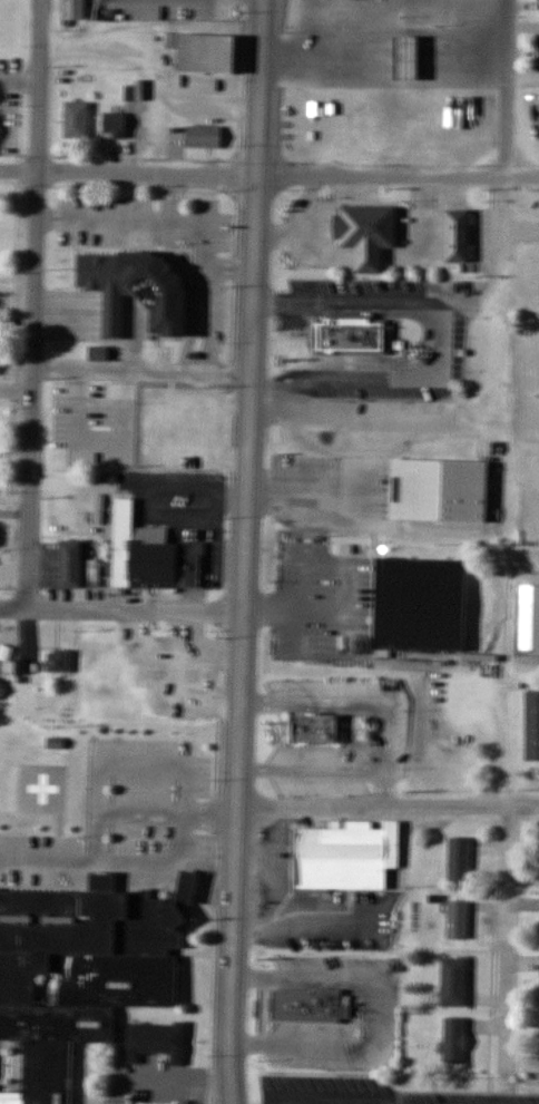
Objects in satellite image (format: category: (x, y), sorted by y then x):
building: (72, 10)
building: (206, 53)
building: (537, 53)
building: (413, 61)
road: (504, 88)
building: (365, 117)
building: (76, 120)
building: (410, 124)
building: (314, 125)
building: (114, 126)
building: (204, 137)
road: (268, 176)
building: (366, 234)
building: (458, 235)
building: (136, 287)
road: (469, 302)
road: (346, 303)
road: (35, 305)
building: (354, 331)
road: (491, 373)
road: (17, 393)
building: (194, 417)
building: (444, 492)
building: (158, 551)
road: (244, 551)
building: (77, 567)
building: (423, 609)
road: (121, 613)
building: (529, 617)
building: (96, 657)
building: (57, 662)
building: (148, 677)
building: (192, 678)
building: (532, 726)
building: (315, 729)
helipad: (38, 785)
road: (388, 804)
building: (467, 852)
building: (344, 857)
building: (187, 887)
building: (464, 912)
road: (506, 929)
building: (461, 974)
building: (78, 977)
building: (320, 997)
building: (461, 1032)
building: (156, 1042)

